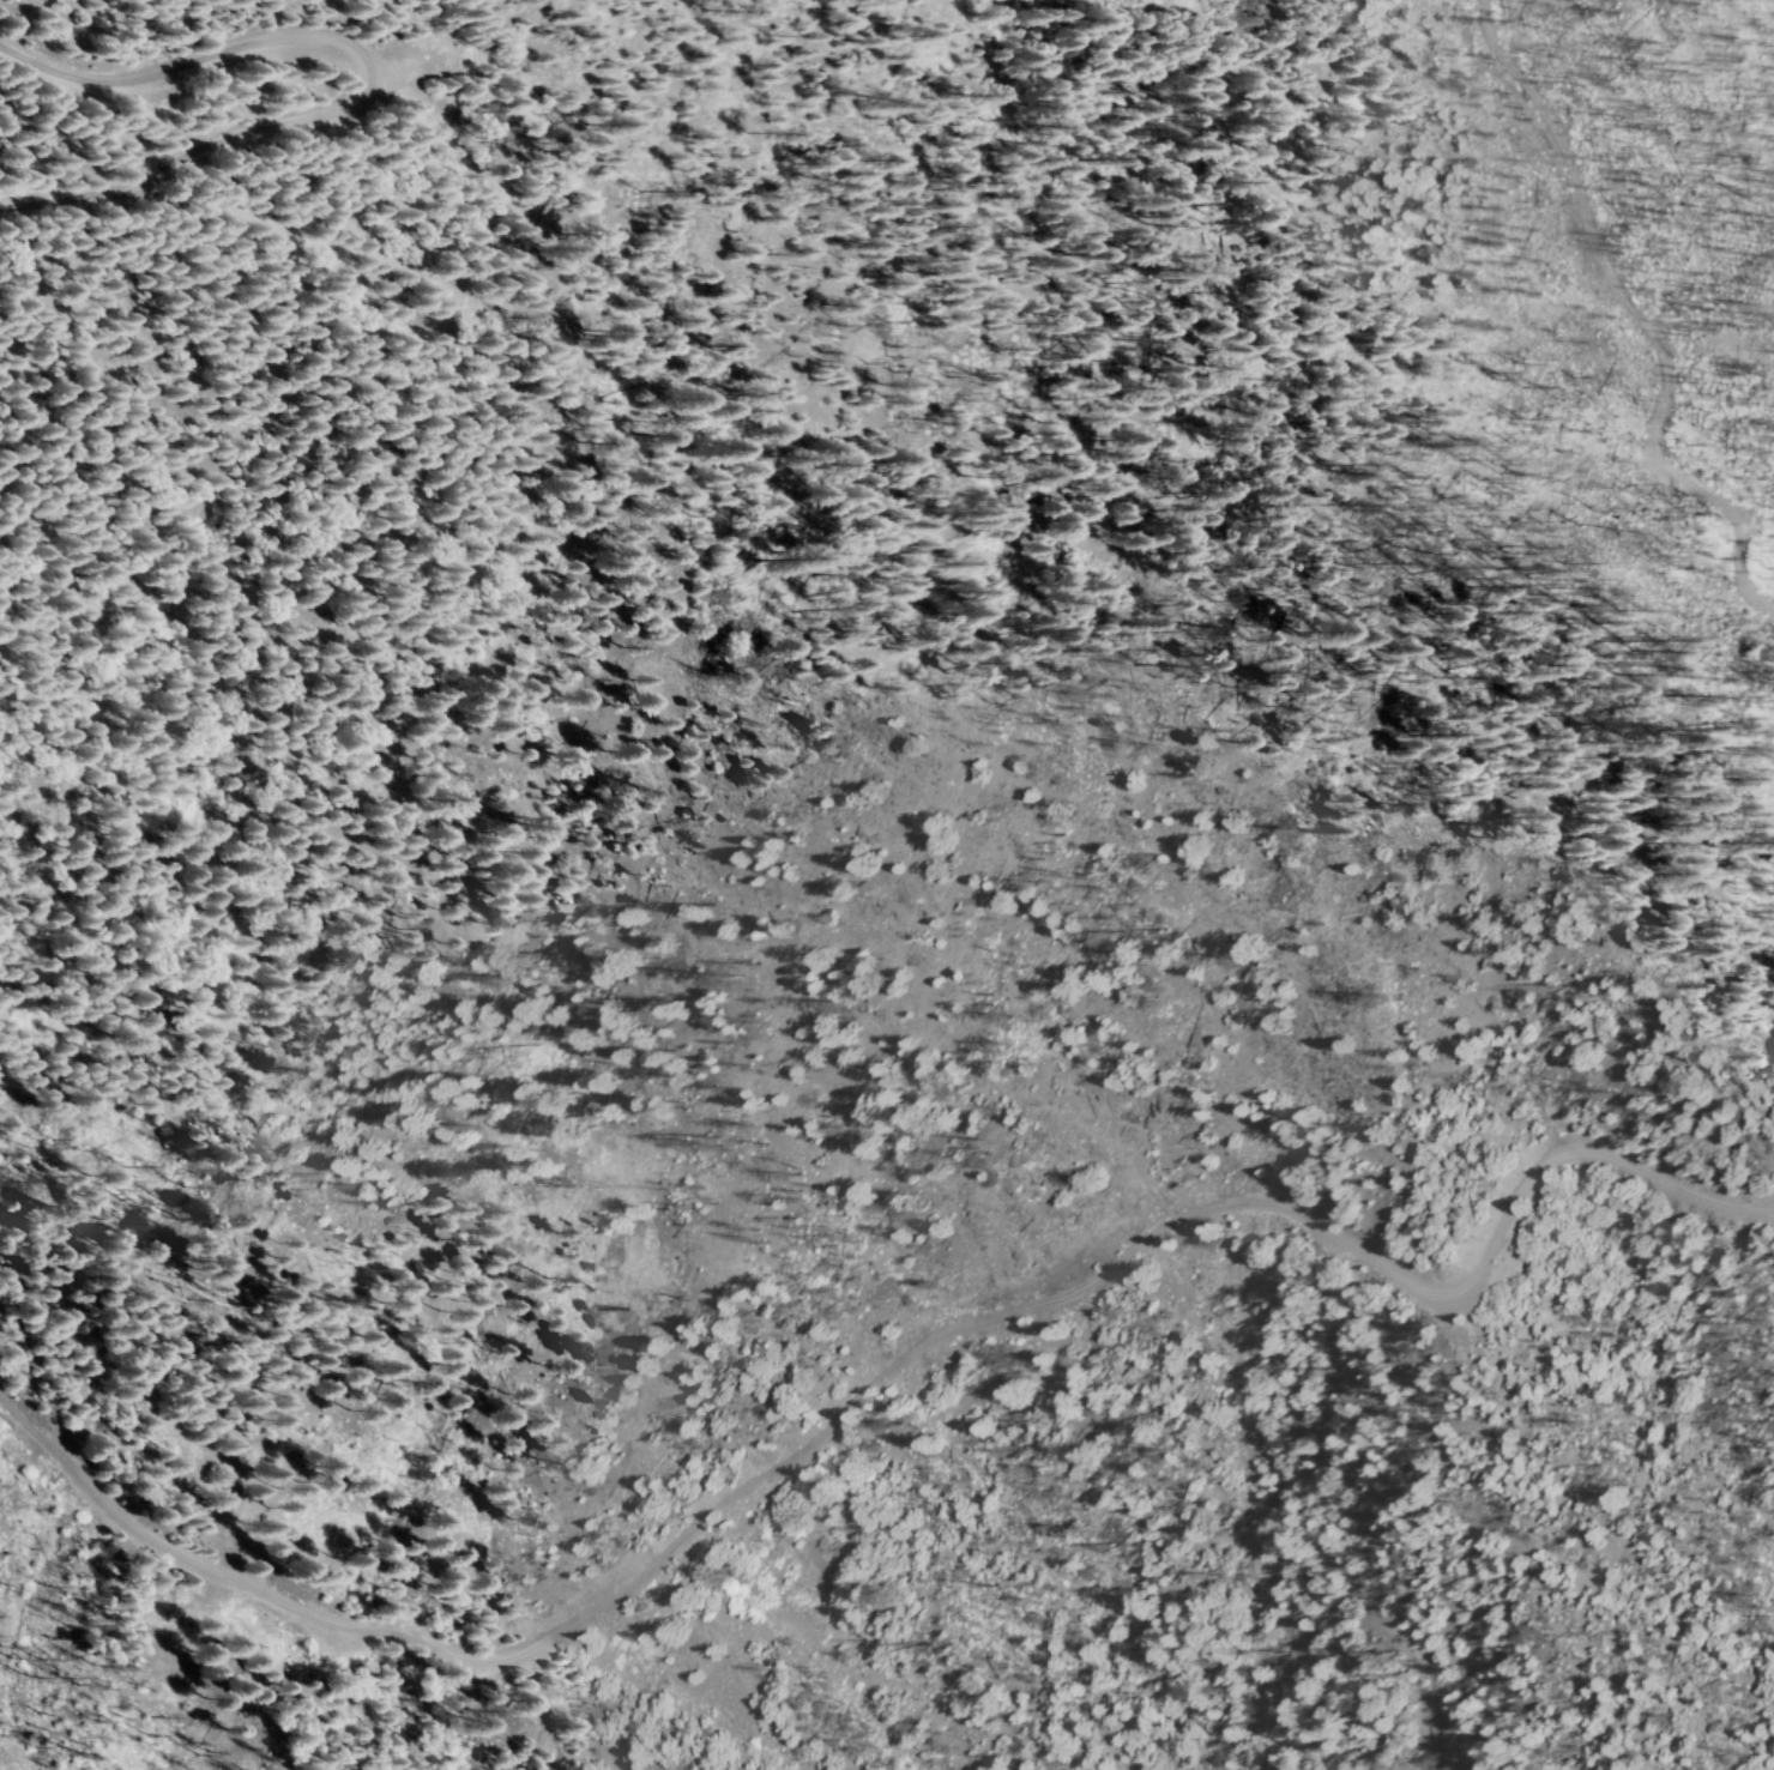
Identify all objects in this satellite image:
road: (352, 97)
road: (1631, 308)
road: (873, 1391)

